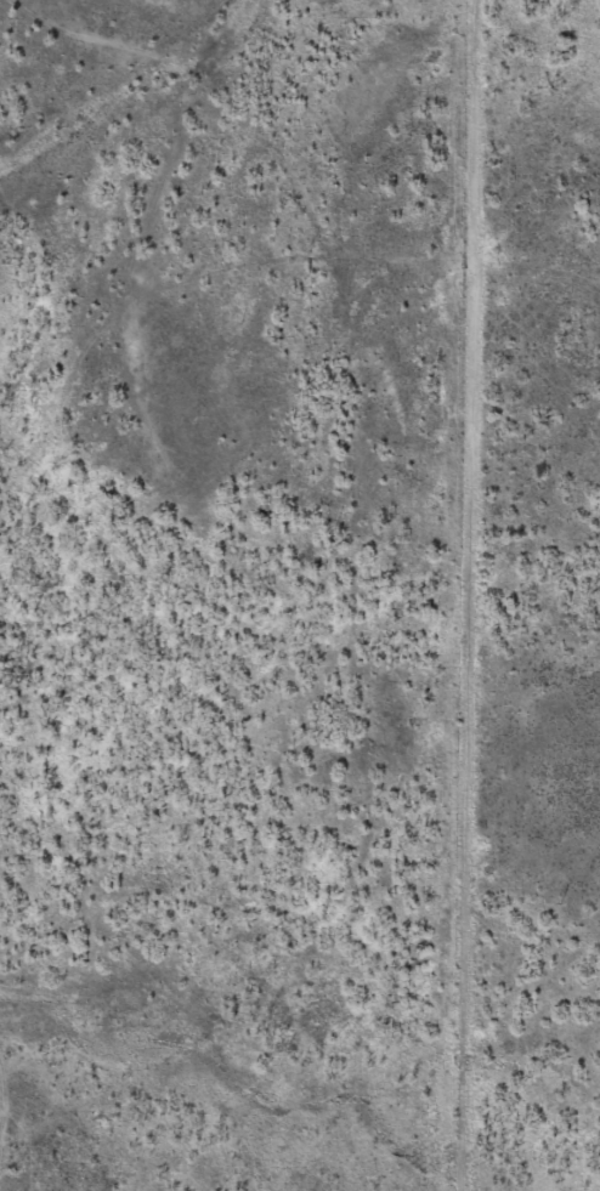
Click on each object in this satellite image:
road: (120, 225)
road: (17, 1134)

